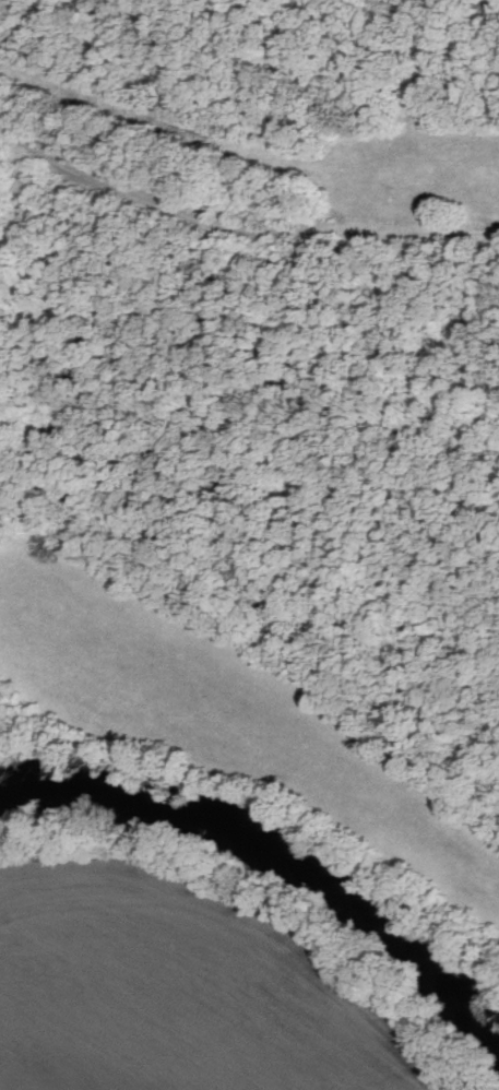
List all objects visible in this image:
river: (280, 839)

